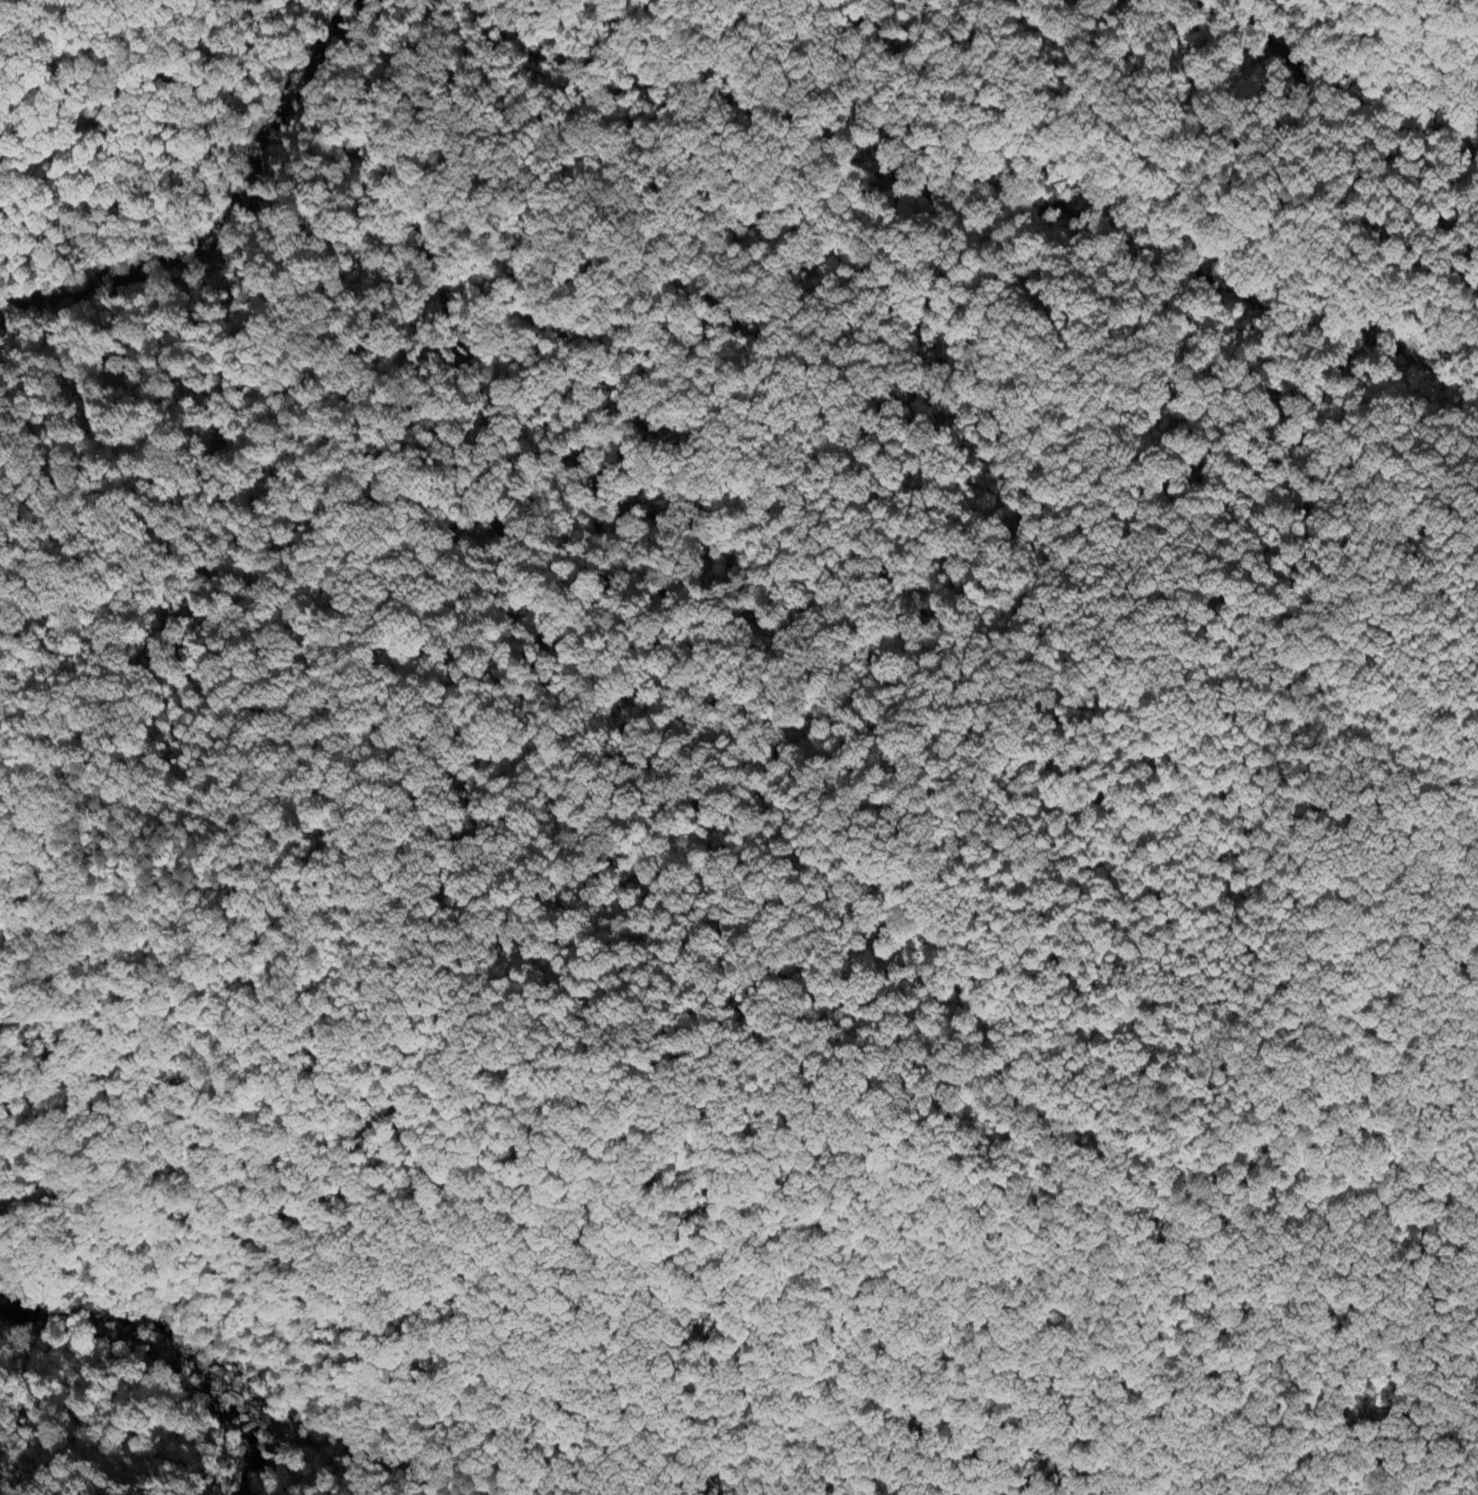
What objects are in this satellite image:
road: (192, 179)
road: (144, 1302)
road: (519, 1349)

